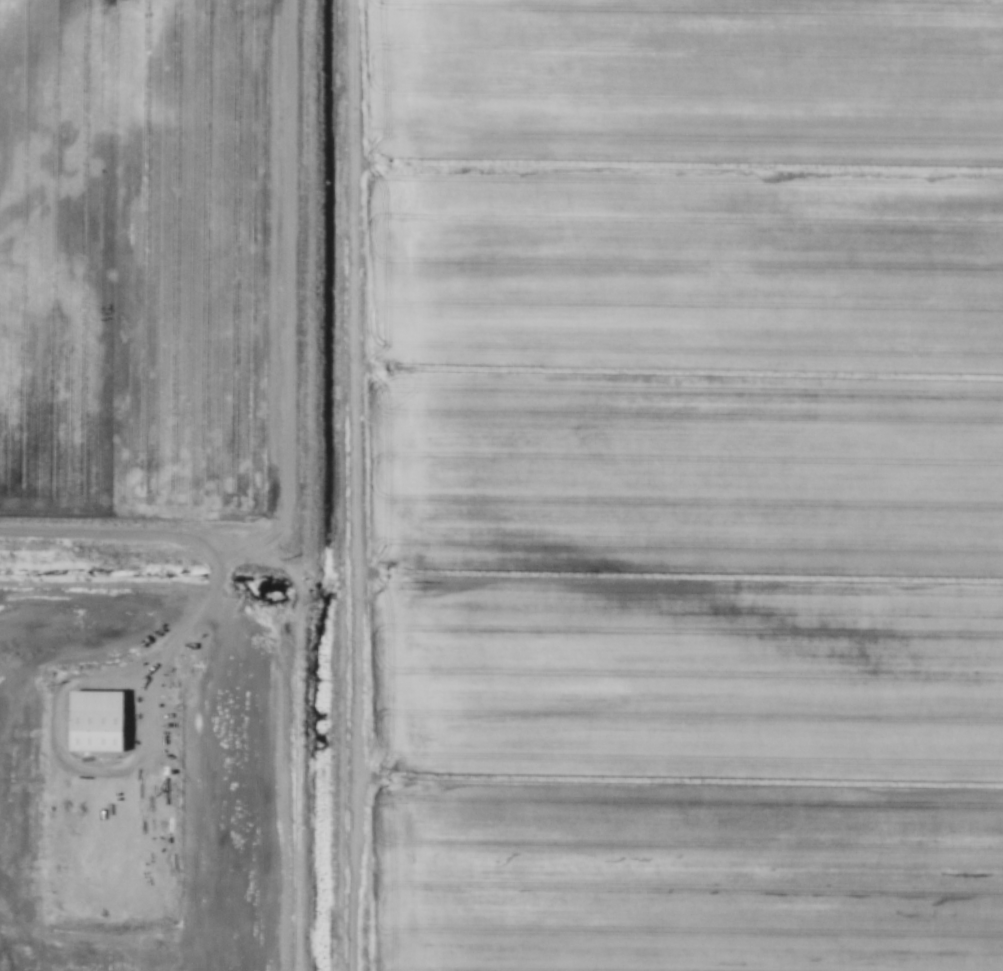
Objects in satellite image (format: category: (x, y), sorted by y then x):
road: (289, 283)
road: (351, 485)
road: (192, 621)
road: (293, 628)
building: (100, 720)

